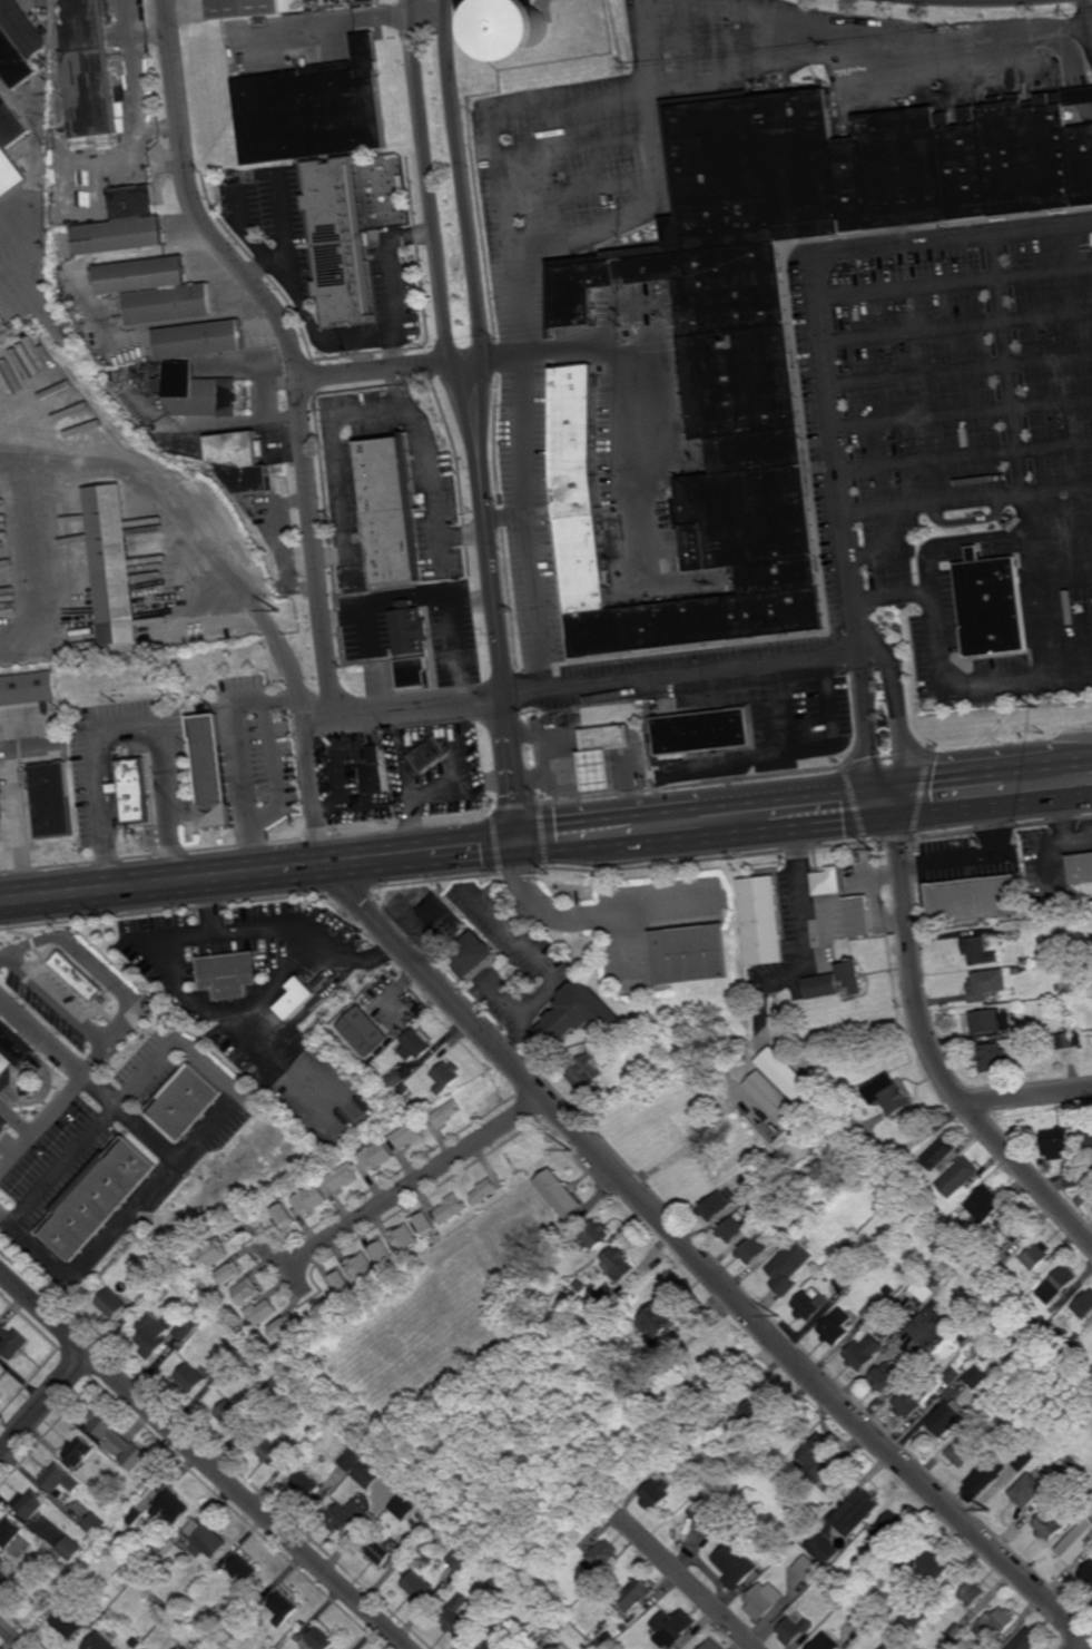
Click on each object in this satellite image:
building: (312, 0)
building: (246, 10)
road: (337, 21)
building: (527, 36)
water tower: (527, 36)
building: (18, 43)
road: (872, 49)
building: (42, 65)
building: (90, 69)
building: (314, 108)
road: (513, 118)
building: (10, 144)
road: (462, 180)
road: (427, 183)
road: (196, 205)
road: (1, 214)
road: (611, 222)
building: (125, 223)
building: (340, 239)
road: (281, 255)
building: (142, 275)
road: (306, 302)
building: (169, 303)
building: (67, 305)
building: (75, 314)
road: (825, 318)
building: (78, 322)
road: (958, 324)
building: (774, 325)
building: (199, 340)
road: (392, 352)
road: (466, 363)
road: (1010, 365)
building: (136, 371)
road: (374, 372)
building: (197, 392)
road: (481, 399)
road: (463, 401)
road: (383, 412)
road: (640, 413)
parking lot: (946, 428)
road: (523, 434)
road: (966, 458)
building: (243, 461)
road: (140, 480)
road: (968, 502)
building: (390, 508)
road: (508, 517)
building: (114, 566)
road: (1064, 581)
road: (1037, 587)
road: (893, 598)
road: (539, 602)
building: (994, 605)
power tower: (282, 612)
building: (411, 628)
road: (328, 629)
road: (503, 640)
road: (937, 640)
building: (365, 667)
building: (413, 671)
building: (390, 675)
road: (690, 676)
building: (28, 688)
road: (324, 711)
road: (899, 719)
road: (302, 722)
road: (127, 727)
road: (869, 728)
building: (700, 733)
road: (796, 750)
building: (604, 753)
building: (375, 754)
building: (430, 755)
road: (243, 760)
building: (216, 773)
road: (991, 773)
building: (374, 778)
building: (132, 789)
traffic signals: (895, 797)
building: (51, 799)
road: (992, 807)
road: (756, 815)
road: (571, 838)
traffic signals: (525, 844)
road: (970, 858)
building: (1082, 872)
road: (263, 873)
building: (829, 882)
building: (975, 901)
road: (597, 913)
building: (440, 915)
building: (859, 916)
building: (764, 922)
power tower: (361, 934)
building: (1015, 935)
road: (623, 943)
building: (1090, 948)
building: (980, 952)
building: (473, 956)
building: (691, 956)
building: (1023, 960)
building: (1039, 968)
building: (1019, 972)
building: (228, 973)
building: (73, 974)
building: (854, 978)
building: (987, 985)
building: (820, 987)
building: (298, 999)
building: (1089, 1000)
building: (373, 1001)
building: (49, 1010)
building: (306, 1013)
building: (578, 1015)
building: (393, 1021)
building: (991, 1022)
building: (1036, 1029)
building: (364, 1031)
building: (348, 1038)
building: (1078, 1039)
building: (1062, 1041)
building: (16, 1043)
building: (415, 1046)
road: (932, 1049)
building: (368, 1054)
building: (992, 1058)
building: (783, 1070)
building: (586, 1071)
building: (446, 1078)
road: (80, 1080)
building: (394, 1081)
building: (403, 1091)
road: (1030, 1093)
building: (888, 1096)
building: (774, 1099)
building: (187, 1100)
road: (226, 1110)
building: (445, 1112)
building: (3, 1125)
building: (409, 1133)
building: (1086, 1133)
building: (1056, 1142)
power tower: (572, 1152)
building: (938, 1152)
building: (376, 1155)
building: (942, 1168)
building: (957, 1175)
building: (343, 1176)
building: (1073, 1176)
road: (413, 1185)
building: (752, 1189)
building: (484, 1190)
building: (560, 1191)
building: (98, 1197)
building: (311, 1198)
building: (1082, 1199)
building: (984, 1203)
building: (715, 1205)
building: (452, 1207)
building: (771, 1209)
building: (939, 1209)
building: (284, 1216)
road: (7, 1218)
building: (427, 1221)
building: (1011, 1221)
building: (732, 1226)
building: (789, 1231)
building: (594, 1234)
building: (405, 1237)
building: (754, 1248)
road: (41, 1250)
building: (383, 1250)
building: (216, 1253)
building: (1037, 1255)
road: (706, 1260)
building: (617, 1263)
building: (363, 1265)
building: (791, 1266)
building: (988, 1269)
building: (233, 1274)
building: (852, 1276)
building: (535, 1279)
building: (342, 1280)
building: (1059, 1283)
building: (889, 1289)
building: (922, 1289)
building: (248, 1292)
building: (602, 1296)
building: (810, 1300)
building: (114, 1304)
building: (587, 1304)
building: (1084, 1304)
building: (874, 1305)
building: (263, 1313)
building: (200, 1315)
building: (659, 1317)
power tower: (779, 1317)
building: (1042, 1319)
building: (836, 1326)
building: (927, 1326)
building: (284, 1327)
building: (187, 1329)
building: (154, 1334)
building: (1075, 1334)
building: (12, 1342)
building: (667, 1348)
building: (864, 1352)
building: (984, 1356)
building: (960, 1364)
building: (224, 1367)
building: (1, 1373)
building: (953, 1375)
building: (976, 1375)
building: (885, 1377)
building: (194, 1378)
building: (233, 1380)
building: (282, 1386)
building: (914, 1395)
road: (46, 1404)
building: (727, 1410)
building: (982, 1413)
building: (233, 1415)
building: (754, 1416)
building: (946, 1417)
building: (106, 1425)
building: (313, 1431)
building: (963, 1450)
building: (80, 1452)
building: (270, 1452)
building: (135, 1457)
road: (206, 1459)
building: (818, 1459)
building: (1021, 1459)
building: (352, 1460)
building: (1069, 1465)
building: (367, 1473)
building: (982, 1479)
building: (59, 1480)
building: (149, 1481)
building: (306, 1486)
building: (1026, 1490)
building: (655, 1493)
building: (29, 1504)
building: (403, 1506)
building: (173, 1508)
power tower: (985, 1511)
building: (857, 1512)
building: (708, 1513)
building: (346, 1517)
building: (135, 1518)
building: (740, 1523)
building: (96, 1525)
building: (1047, 1527)
building: (889, 1530)
building: (10, 1534)
building: (208, 1541)
building: (1076, 1542)
building: (71, 1549)
building: (824, 1549)
building: (384, 1550)
building: (175, 1551)
building: (424, 1552)
building: (601, 1557)
building: (430, 1558)
building: (461, 1559)
building: (1, 1560)
building: (925, 1563)
building: (735, 1564)
building: (243, 1569)
building: (809, 1569)
building: (66, 1571)
building: (862, 1576)
building: (1086, 1576)
building: (3, 1578)
road: (686, 1580)
building: (495, 1582)
building: (75, 1584)
building: (417, 1586)
building: (835, 1589)
building: (972, 1592)
building: (634, 1593)
building: (763, 1600)
building: (283, 1607)
building: (177, 1614)
building: (916, 1614)
building: (171, 1617)
building: (863, 1618)
building: (458, 1619)
building: (213, 1620)
building: (994, 1621)
building: (67, 1622)
building: (881, 1627)
building: (671, 1628)
building: (794, 1630)
building: (953, 1633)
road: (12, 1637)
building: (321, 1638)
building: (606, 1638)
building: (1024, 1640)
building: (98, 1641)
building: (136, 1641)
building: (825, 1642)
building: (543, 1643)
building: (712, 1645)
building: (491, 1646)
building: (901, 1646)
building: (964, 1646)
building: (886, 1647)
road: (1089, 1647)
building: (538, 1648)
building: (610, 1648)

